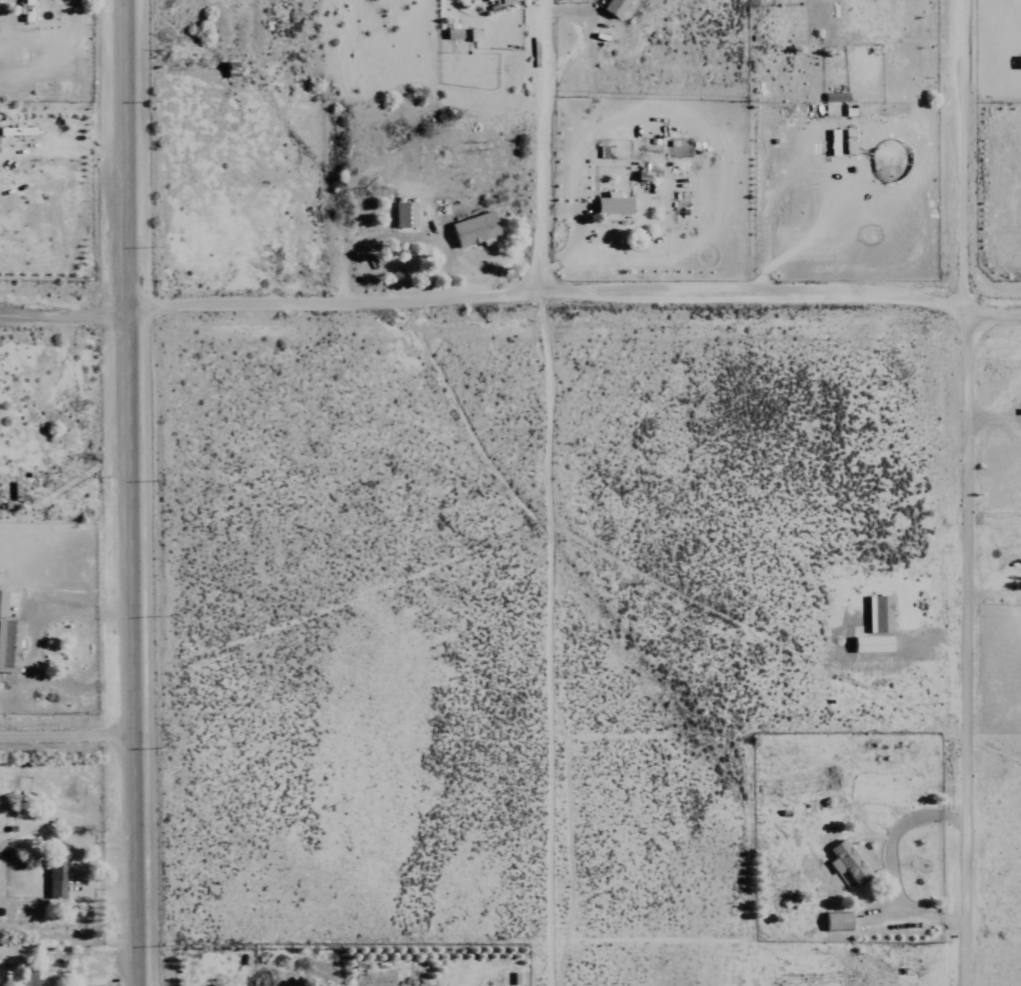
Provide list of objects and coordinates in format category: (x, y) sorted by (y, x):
road: (541, 157)
road: (957, 157)
road: (572, 314)
road: (62, 315)
road: (127, 493)
road: (962, 649)
road: (66, 735)
road: (891, 864)

